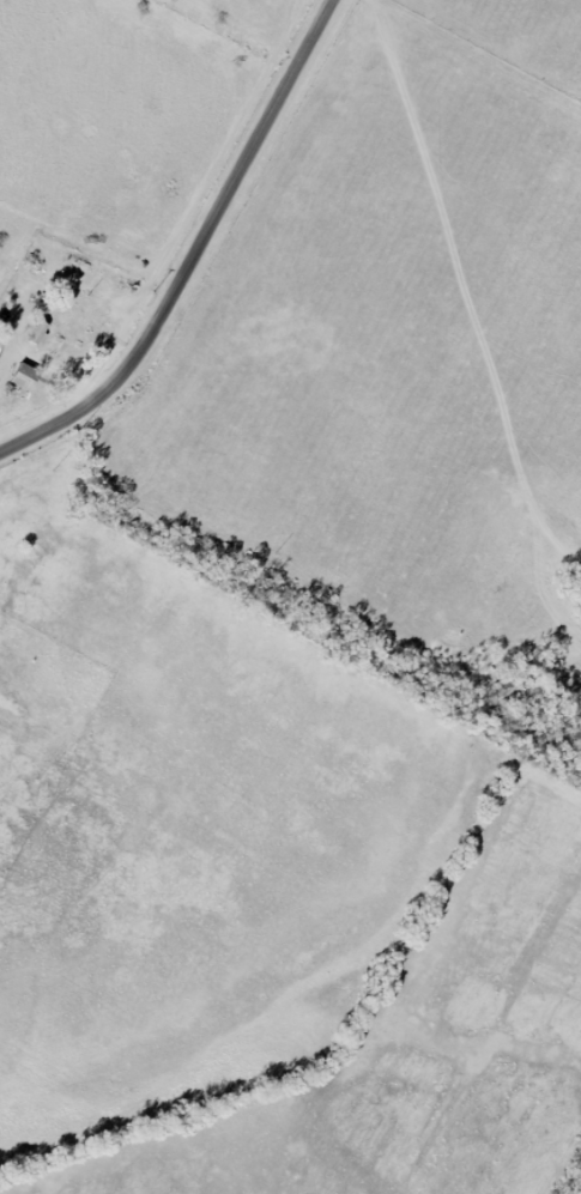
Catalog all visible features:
road: (196, 251)
building: (40, 331)
building: (26, 375)

